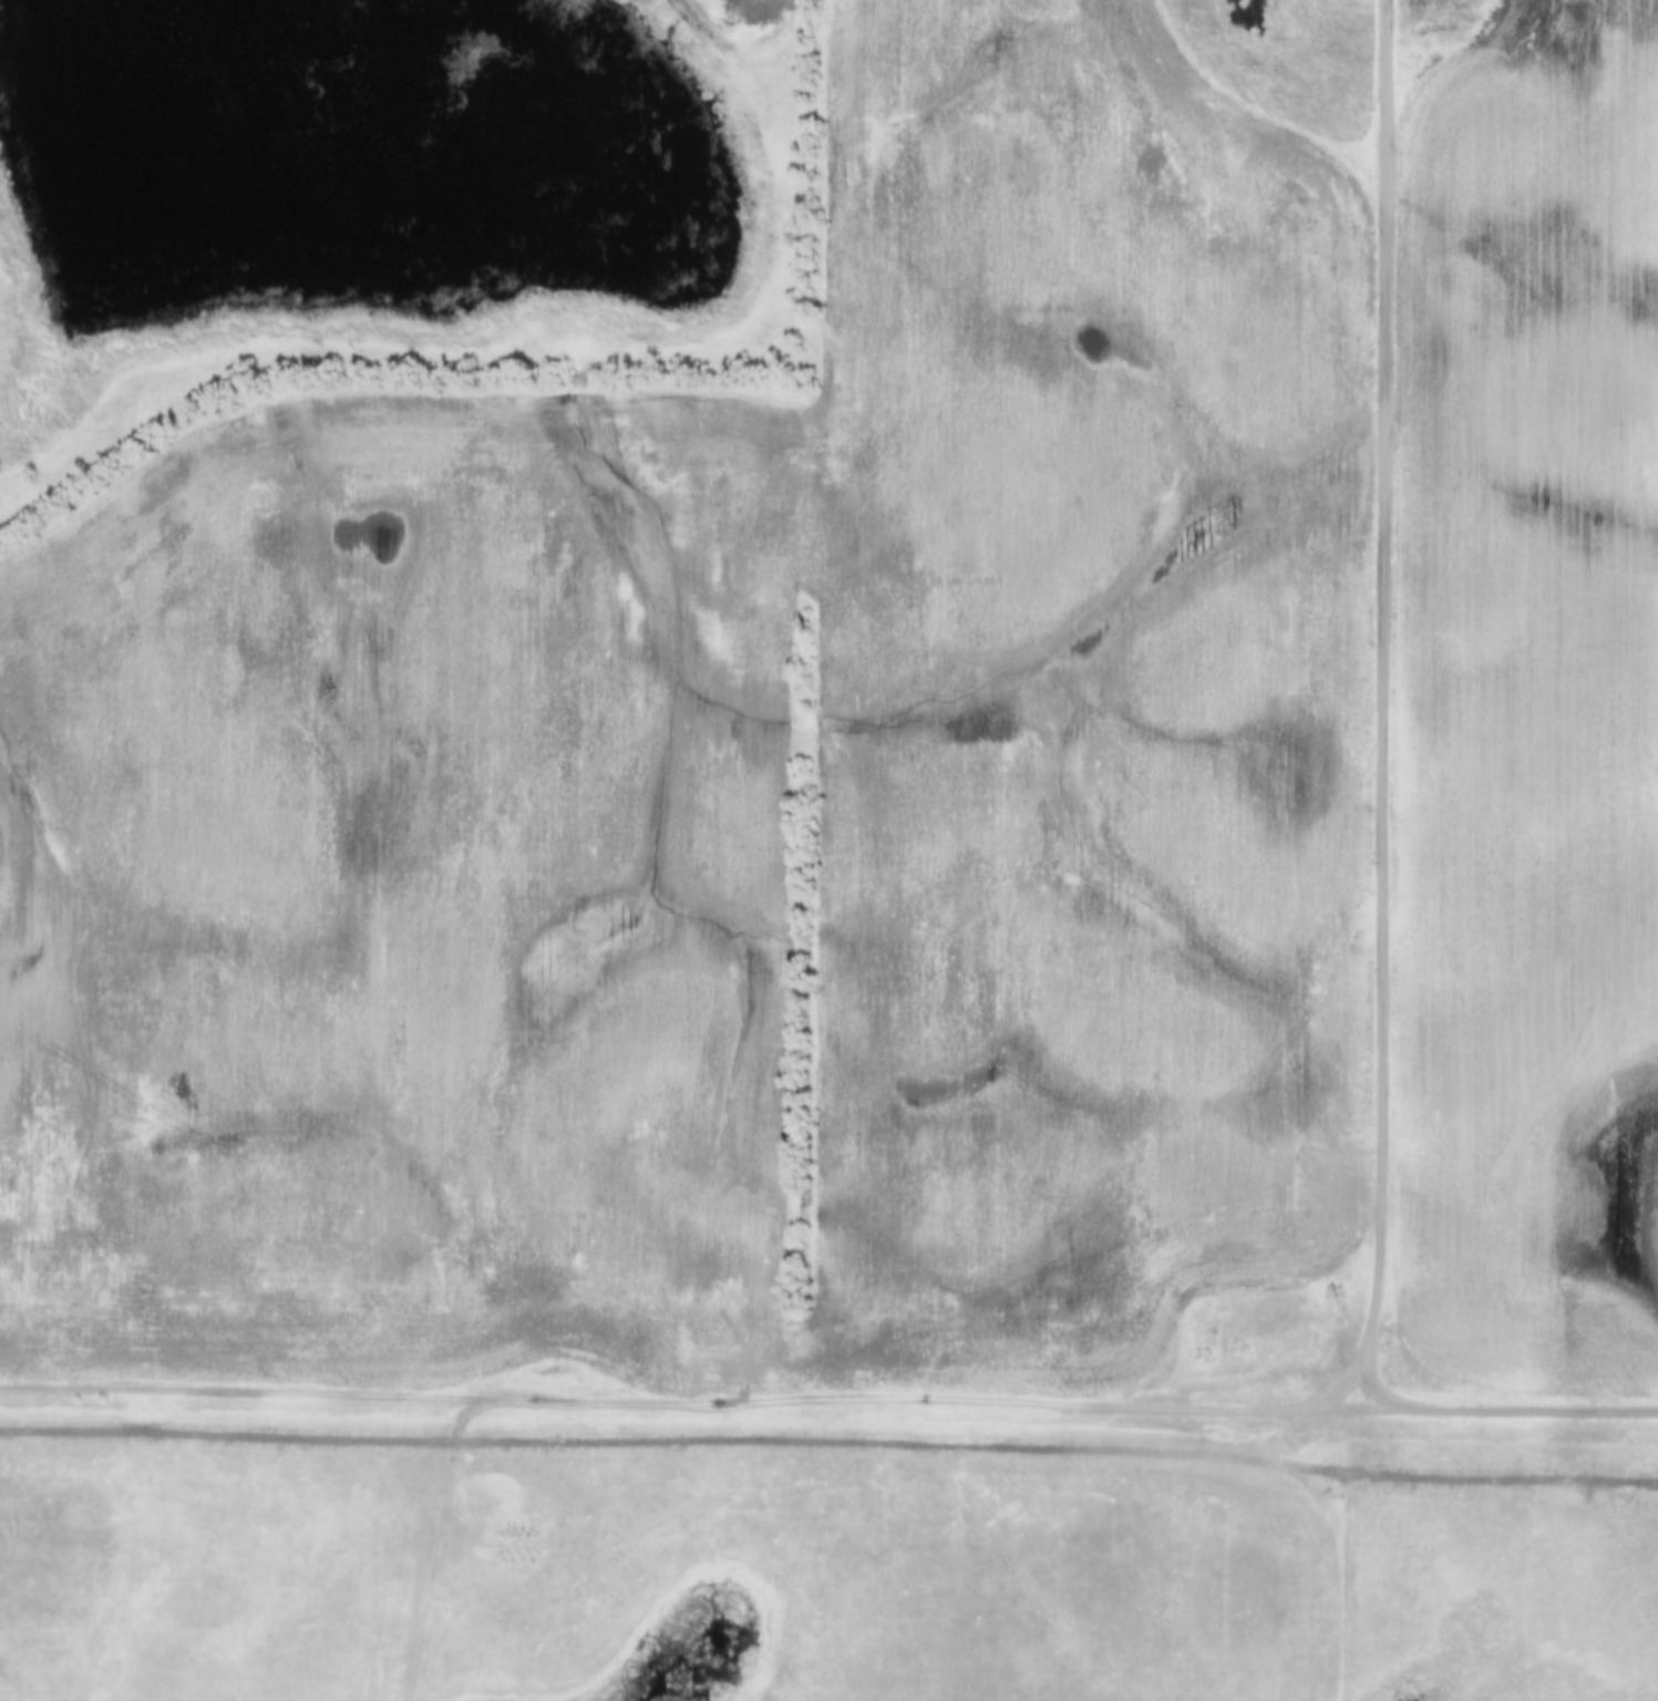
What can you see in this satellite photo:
road: (1390, 685)
road: (1379, 1394)
road: (688, 1405)
road: (1480, 1413)

